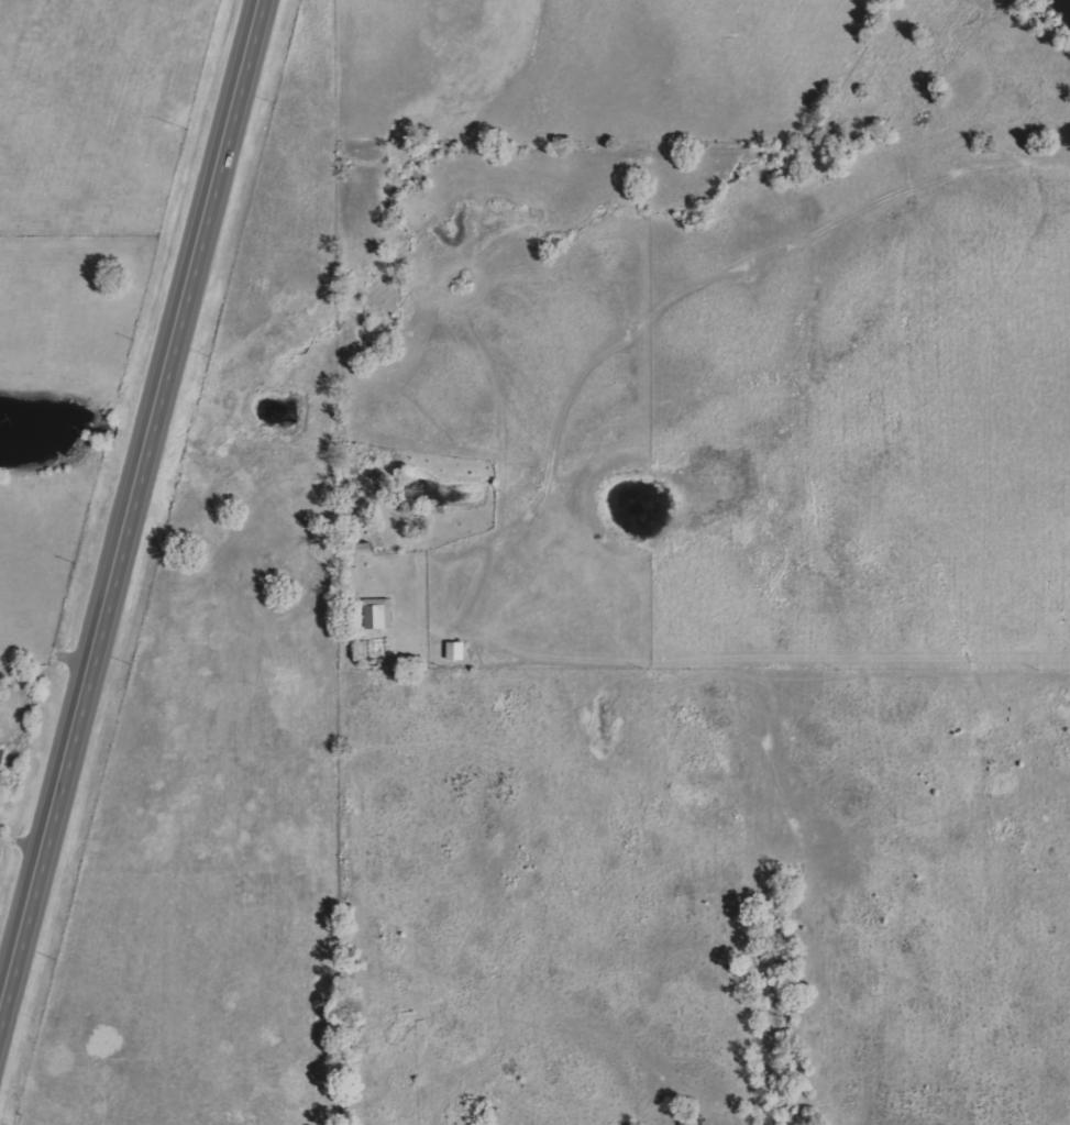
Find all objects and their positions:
road: (722, 282)
road: (132, 509)
building: (379, 614)
road: (453, 639)
building: (459, 651)

